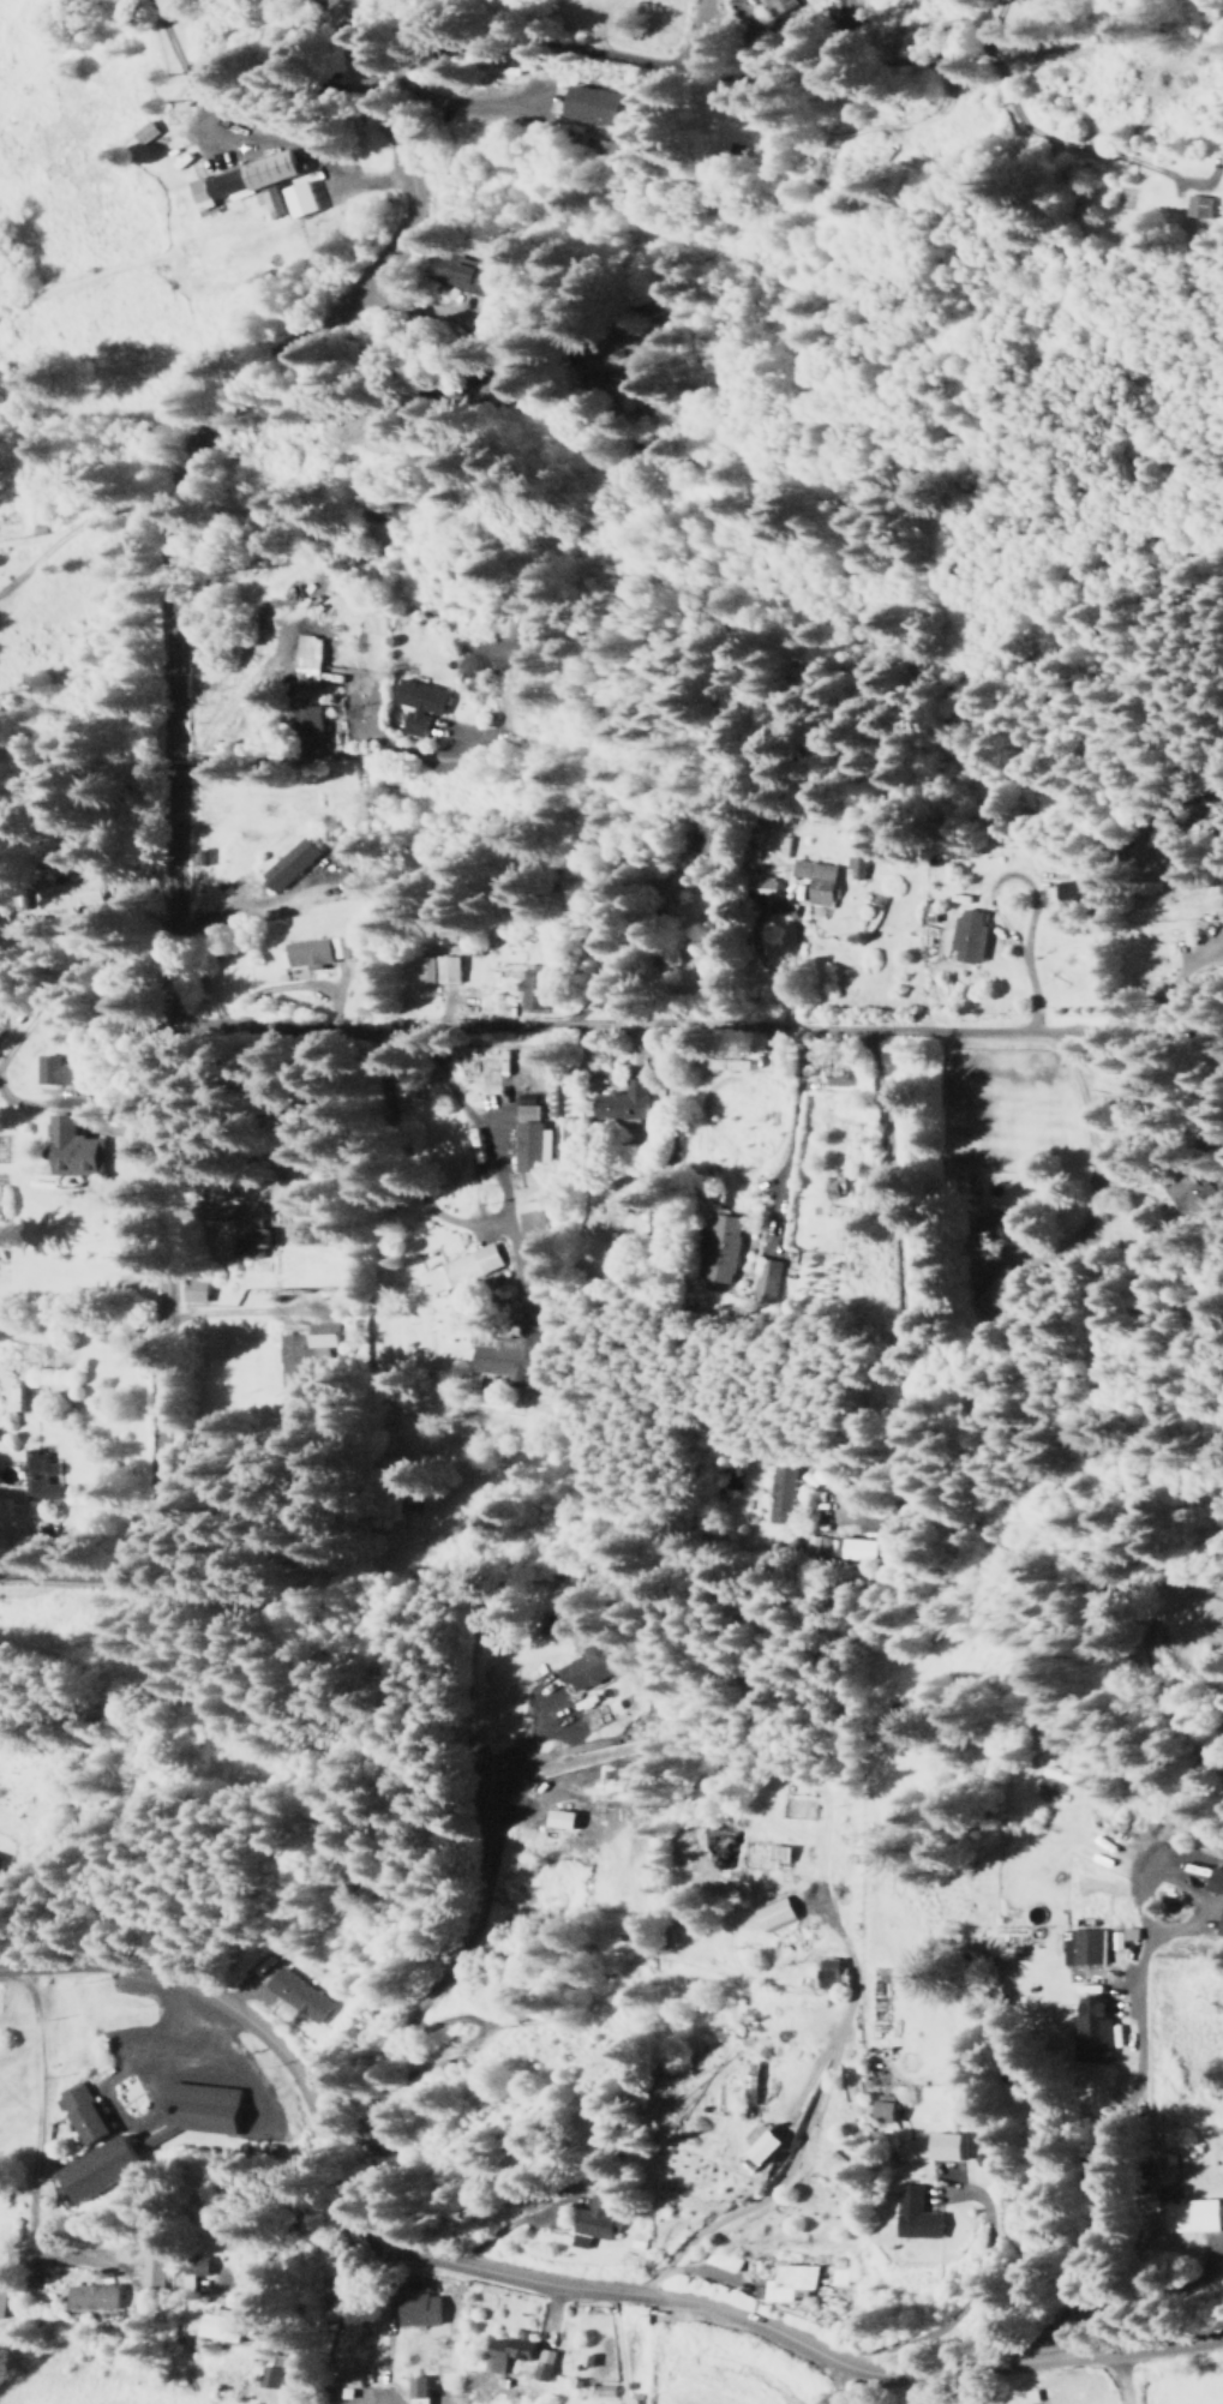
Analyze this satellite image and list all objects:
building: (779, 6)
road: (344, 23)
road: (783, 78)
building: (589, 106)
building: (144, 133)
road: (239, 139)
building: (1222, 163)
building: (247, 185)
building: (300, 202)
building: (1194, 208)
building: (455, 274)
road: (71, 527)
building: (307, 660)
building: (418, 706)
building: (306, 719)
road: (317, 763)
road: (175, 832)
building: (708, 841)
building: (348, 863)
building: (288, 865)
building: (853, 869)
building: (815, 881)
building: (759, 887)
building: (1068, 892)
building: (72, 895)
building: (967, 937)
building: (320, 952)
building: (446, 970)
building: (532, 989)
road: (713, 1032)
building: (729, 1065)
building: (60, 1072)
building: (837, 1077)
building: (617, 1105)
building: (526, 1140)
building: (74, 1150)
road: (427, 1180)
building: (834, 1188)
building: (631, 1203)
building: (530, 1219)
building: (247, 1233)
building: (720, 1249)
building: (460, 1270)
building: (765, 1283)
building: (995, 1288)
building: (196, 1293)
building: (322, 1336)
building: (509, 1357)
building: (290, 1362)
building: (18, 1395)
building: (38, 1477)
building: (780, 1494)
building: (819, 1516)
building: (852, 1549)
building: (587, 1667)
building: (562, 1821)
building: (1215, 1882)
building: (775, 1914)
building: (1222, 1934)
building: (1081, 1948)
building: (829, 1976)
building: (300, 1990)
road: (570, 1990)
building: (1091, 2033)
building: (204, 2110)
building: (888, 2111)
building: (84, 2116)
road: (30, 2136)
building: (769, 2142)
building: (952, 2146)
building: (102, 2169)
building: (1194, 2216)
building: (593, 2220)
building: (923, 2222)
building: (636, 2242)
building: (157, 2267)
building: (199, 2270)
building: (833, 2278)
building: (783, 2284)
road: (546, 2285)
building: (101, 2296)
building: (6, 2298)
road: (973, 2303)
building: (418, 2310)
building: (233, 2325)
building: (520, 2356)
building: (269, 2378)
road: (1115, 2380)
building: (346, 2384)
road: (840, 2384)
building: (418, 2390)

